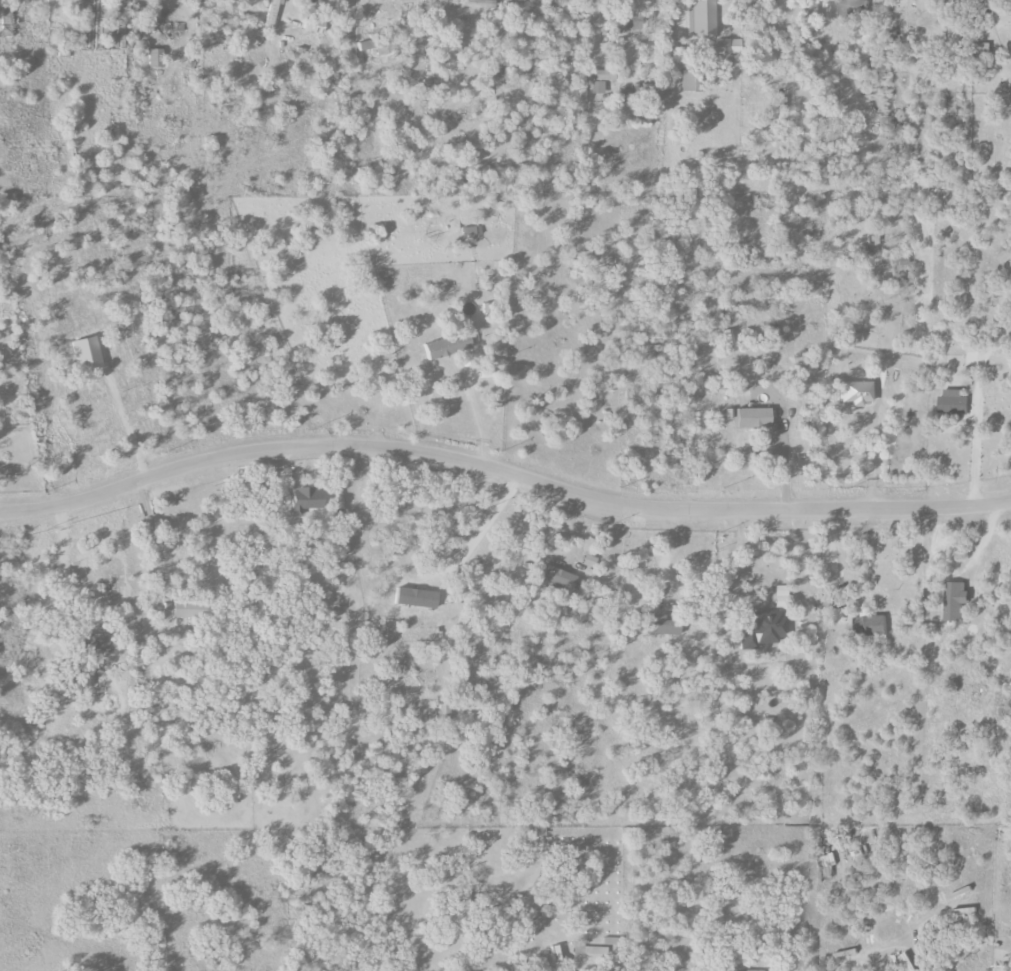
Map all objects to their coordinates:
building: (472, 3)
building: (852, 8)
building: (272, 13)
building: (1000, 13)
building: (6, 16)
building: (623, 20)
building: (700, 20)
building: (314, 25)
building: (374, 46)
building: (727, 46)
building: (156, 58)
building: (601, 81)
building: (690, 81)
building: (625, 95)
building: (469, 231)
building: (899, 260)
building: (729, 340)
building: (448, 346)
building: (857, 393)
building: (954, 404)
road: (475, 413)
building: (754, 418)
road: (125, 426)
road: (977, 439)
road: (784, 461)
road: (872, 462)
road: (502, 469)
building: (306, 500)
road: (149, 523)
road: (481, 531)
road: (832, 553)
road: (60, 574)
building: (558, 577)
road: (764, 595)
building: (781, 596)
building: (416, 598)
building: (956, 600)
building: (191, 609)
building: (663, 625)
building: (869, 627)
building: (97, 643)
building: (444, 712)
building: (828, 865)
building: (594, 950)
building: (555, 953)
building: (1001, 968)

